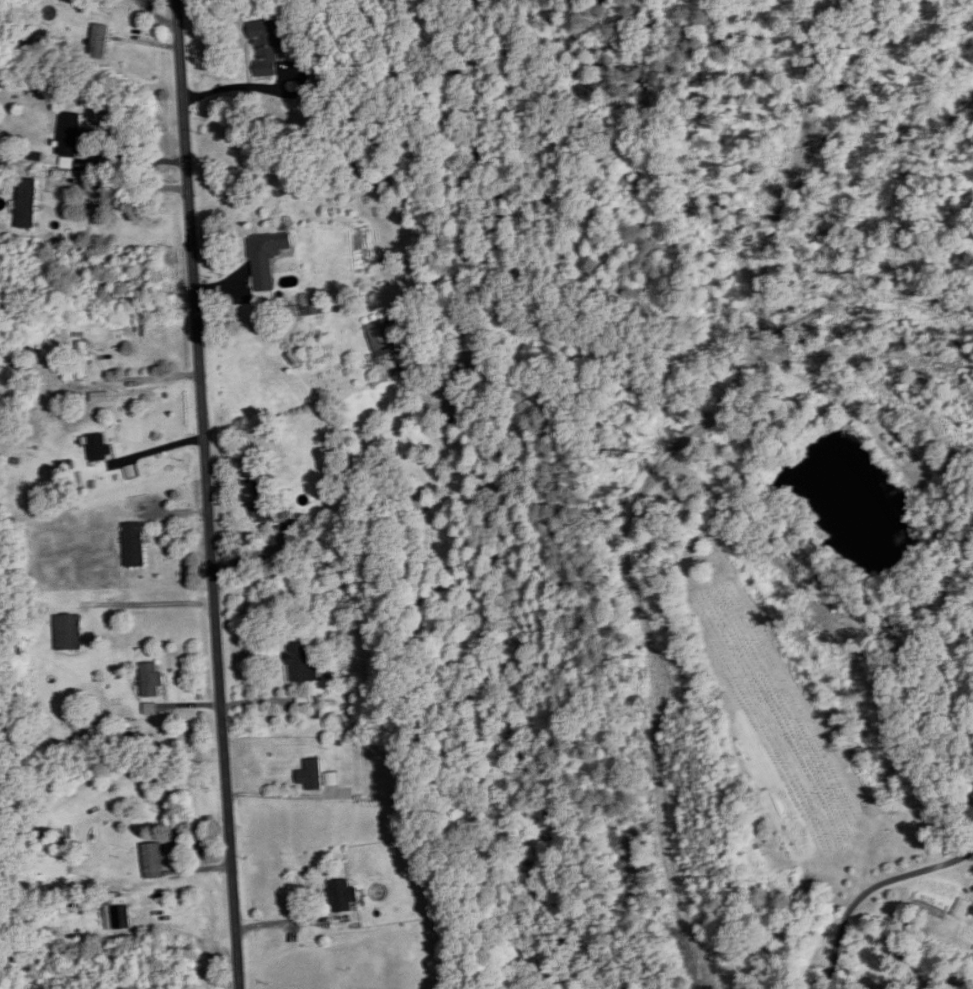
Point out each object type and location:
building: (100, 41)
building: (265, 48)
building: (73, 135)
road: (132, 160)
road: (124, 186)
building: (27, 203)
building: (267, 257)
building: (382, 338)
building: (82, 360)
road: (137, 379)
building: (100, 448)
road: (155, 449)
road: (208, 494)
building: (264, 500)
building: (135, 544)
road: (148, 603)
building: (69, 632)
building: (302, 663)
building: (151, 679)
building: (311, 774)
building: (404, 788)
building: (154, 860)
road: (870, 890)
building: (342, 895)
building: (962, 908)

